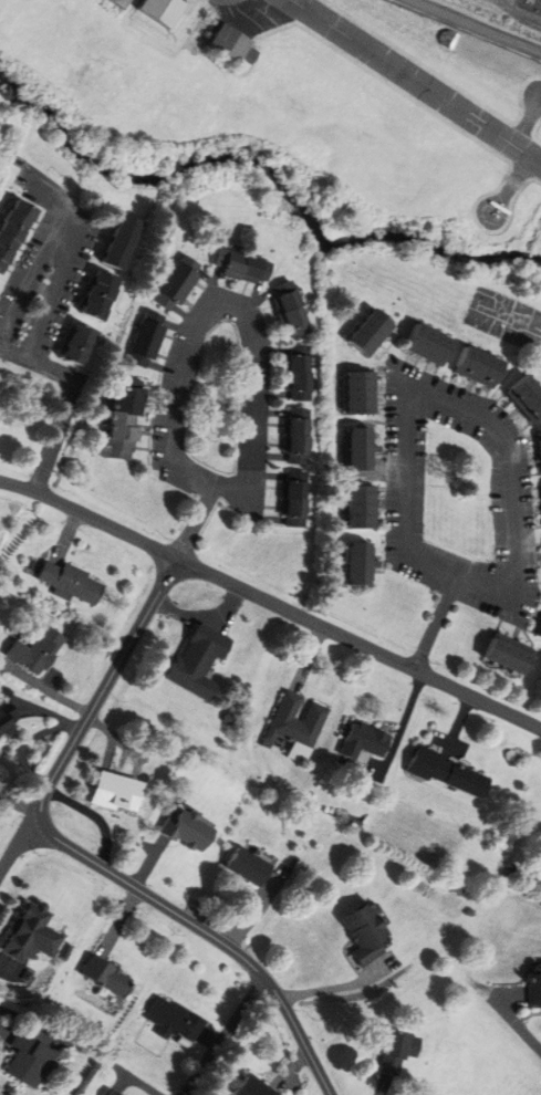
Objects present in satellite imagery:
airport hangar: (128, 2)
building: (128, 2)
airport hangar: (169, 9)
building: (169, 9)
airport hangar: (238, 38)
building: (238, 38)
airport runway: (415, 80)
airport: (311, 91)
road: (72, 220)
building: (13, 230)
building: (123, 241)
building: (242, 267)
building: (178, 282)
building: (101, 295)
building: (290, 309)
road: (254, 332)
building: (371, 332)
building: (146, 341)
building: (80, 344)
building: (429, 345)
building: (479, 367)
building: (298, 374)
building: (360, 393)
road: (71, 398)
building: (527, 398)
building: (123, 424)
road: (499, 431)
building: (295, 437)
building: (539, 448)
building: (358, 449)
building: (292, 499)
building: (361, 508)
road: (90, 517)
road: (196, 523)
building: (357, 564)
building: (69, 583)
road: (437, 623)
building: (539, 630)
road: (360, 642)
building: (34, 651)
building: (507, 656)
building: (197, 661)
building: (291, 722)
building: (7, 724)
building: (362, 741)
road: (30, 742)
building: (447, 773)
building: (117, 792)
building: (187, 830)
road: (18, 845)
road: (85, 857)
building: (246, 867)
building: (367, 934)
building: (35, 936)
building: (110, 976)
building: (535, 987)
building: (175, 1019)
road: (517, 1028)
road: (227, 1036)
building: (186, 1041)
building: (404, 1053)
building: (33, 1061)
building: (253, 1087)
building: (118, 1093)

